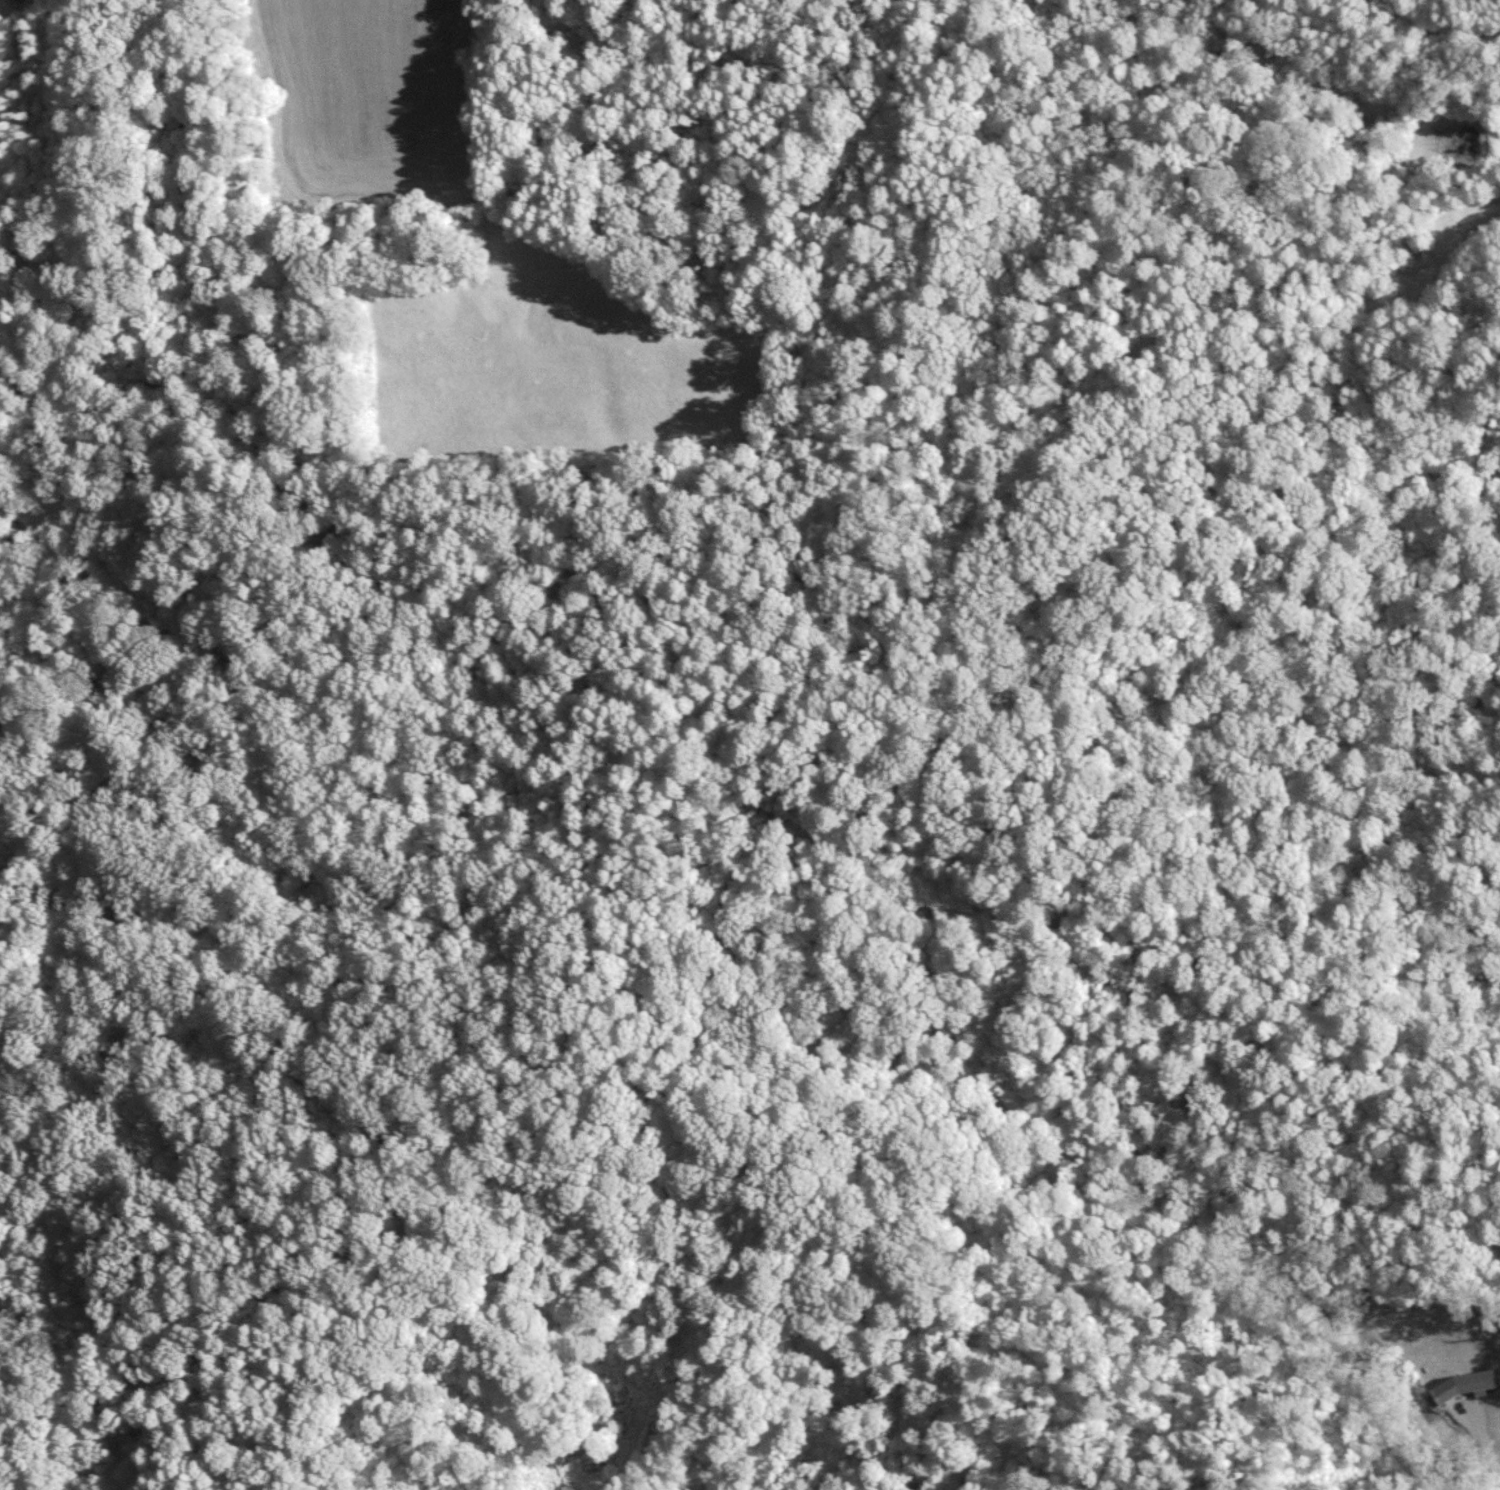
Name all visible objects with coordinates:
building: (1466, 1383)
road: (1487, 1442)

